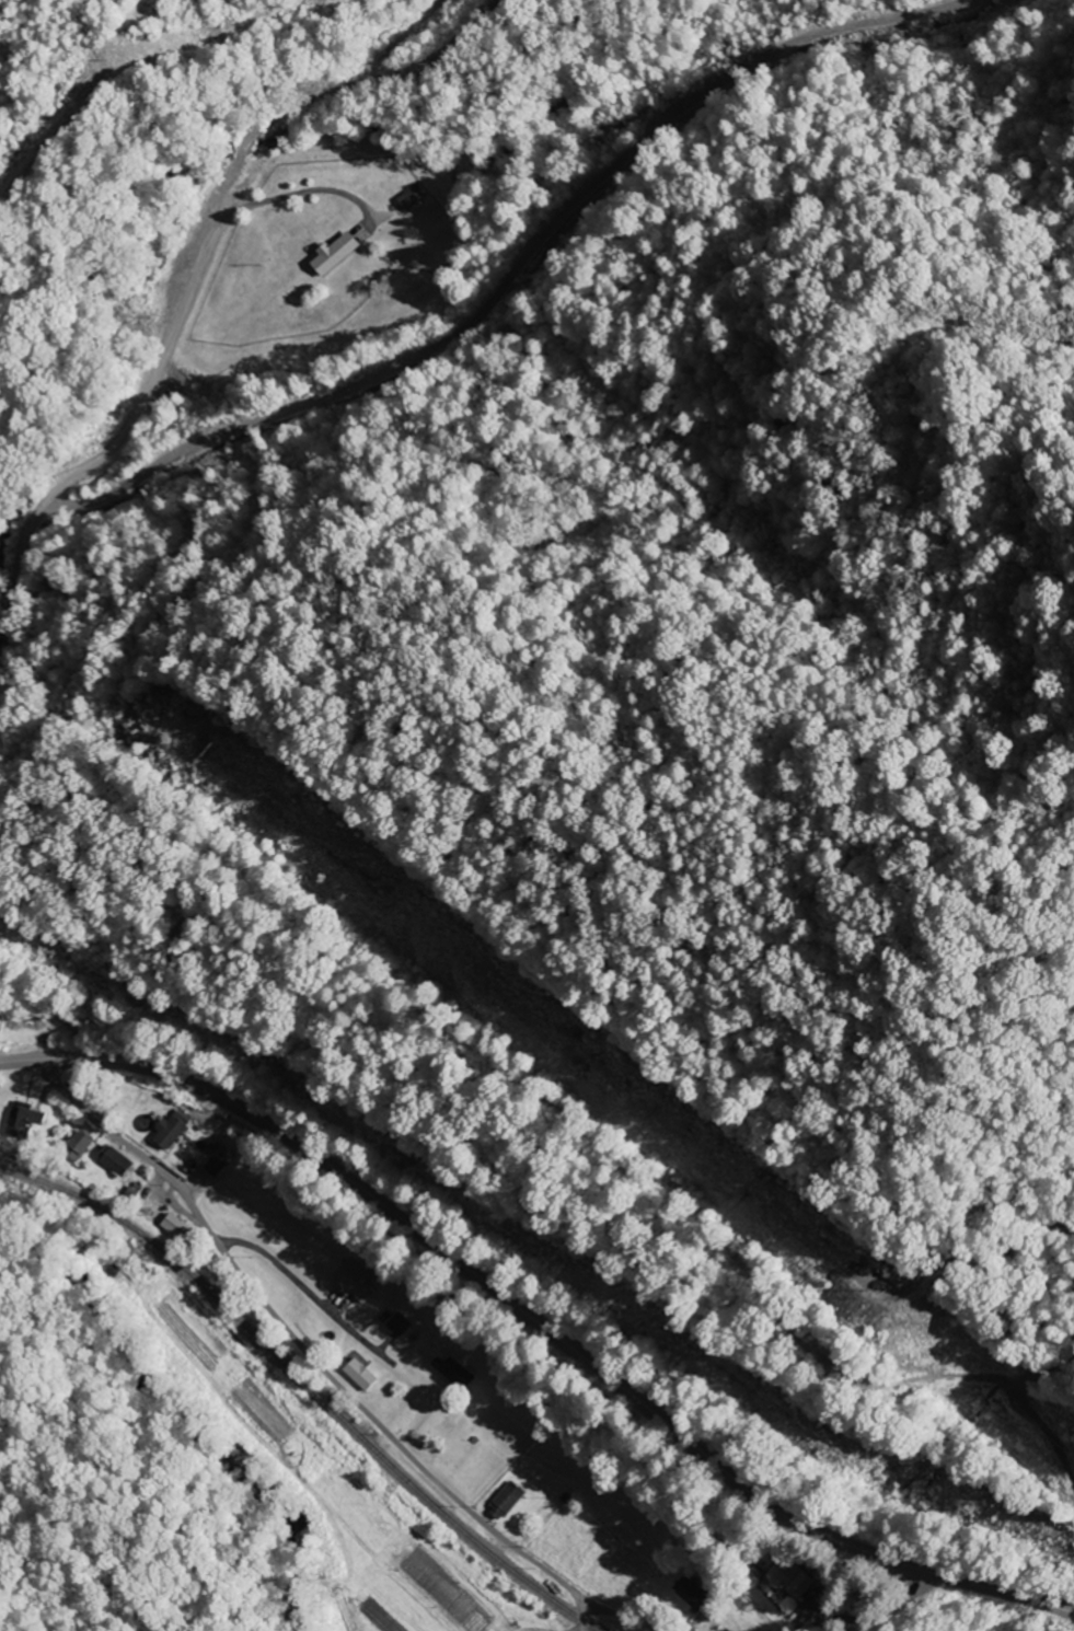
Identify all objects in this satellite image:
building: (332, 254)
road: (119, 436)
building: (23, 1121)
building: (168, 1130)
building: (77, 1145)
building: (113, 1160)
building: (173, 1226)
building: (350, 1281)
road: (539, 1323)
building: (394, 1325)
road: (303, 1346)
building: (449, 1373)
building: (357, 1375)
railway: (308, 1385)
building: (503, 1501)
building: (787, 1578)
building: (686, 1596)
road: (582, 1620)

